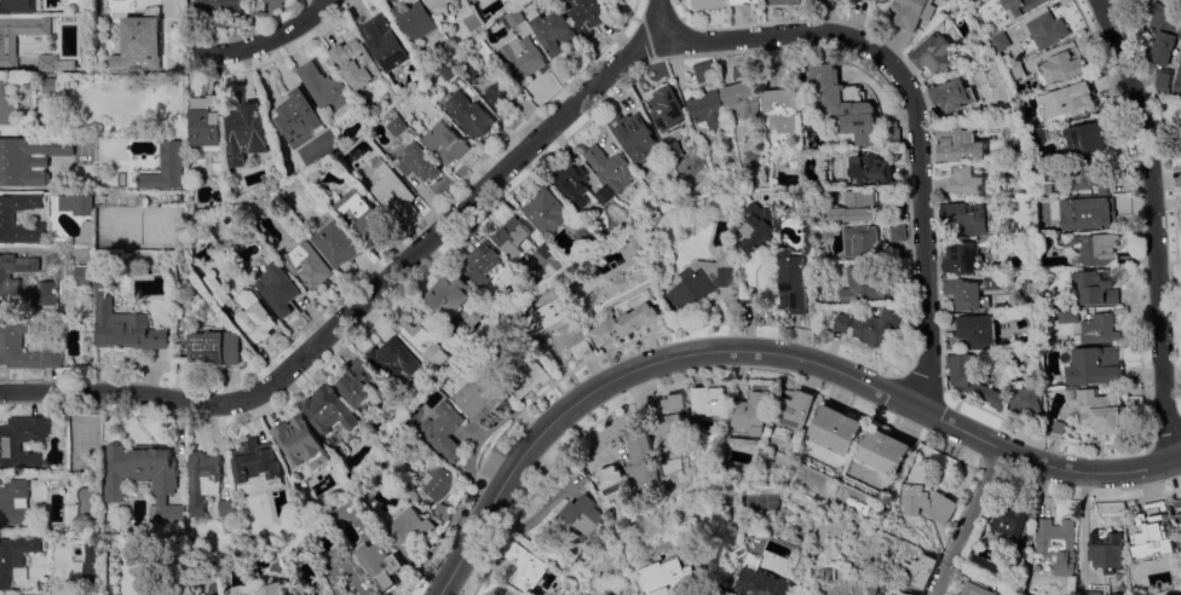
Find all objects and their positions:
building: (840, 0)
building: (883, 0)
building: (612, 1)
building: (745, 1)
building: (785, 1)
building: (148, 2)
building: (273, 4)
building: (708, 4)
building: (19, 5)
building: (1022, 5)
building: (215, 6)
building: (440, 6)
building: (914, 12)
building: (587, 16)
building: (414, 17)
building: (517, 18)
road: (659, 21)
building: (476, 22)
building: (553, 30)
building: (1047, 30)
building: (1162, 30)
road: (269, 39)
building: (999, 41)
building: (386, 42)
building: (86, 44)
building: (137, 44)
building: (7, 51)
building: (933, 53)
building: (523, 57)
building: (54, 64)
building: (356, 64)
building: (1059, 69)
building: (450, 70)
building: (704, 71)
building: (1015, 71)
building: (472, 73)
building: (1163, 80)
building: (1177, 81)
building: (51, 86)
building: (324, 87)
building: (501, 89)
building: (951, 96)
building: (745, 98)
building: (1067, 102)
building: (847, 104)
building: (7, 106)
building: (666, 109)
building: (708, 109)
building: (785, 109)
road: (917, 114)
building: (469, 115)
building: (298, 116)
building: (208, 126)
building: (398, 126)
building: (247, 132)
building: (892, 134)
building: (634, 137)
building: (1084, 138)
building: (447, 143)
building: (957, 145)
building: (673, 151)
building: (28, 158)
building: (419, 162)
building: (166, 167)
building: (609, 167)
building: (868, 168)
building: (1083, 174)
building: (963, 180)
building: (577, 187)
building: (392, 191)
building: (140, 200)
building: (75, 204)
building: (854, 208)
building: (897, 210)
building: (543, 212)
building: (362, 214)
building: (1087, 214)
building: (6, 216)
building: (964, 218)
building: (760, 226)
road: (1152, 226)
building: (898, 233)
building: (512, 238)
building: (584, 238)
building: (864, 243)
building: (336, 244)
building: (635, 244)
building: (1091, 249)
building: (545, 250)
building: (960, 259)
building: (482, 262)
building: (309, 265)
building: (82, 275)
building: (702, 283)
building: (796, 283)
building: (10, 284)
building: (863, 285)
building: (1096, 288)
building: (276, 289)
building: (751, 294)
building: (963, 294)
building: (46, 296)
building: (449, 299)
building: (244, 308)
road: (367, 313)
building: (546, 316)
building: (1067, 316)
building: (842, 323)
building: (125, 324)
building: (628, 324)
building: (877, 325)
building: (1099, 329)
building: (978, 330)
building: (11, 340)
building: (421, 341)
building: (455, 345)
building: (215, 347)
building: (581, 350)
road: (765, 354)
building: (393, 358)
building: (1094, 365)
building: (970, 379)
building: (530, 380)
building: (357, 382)
building: (478, 398)
building: (1025, 402)
building: (707, 403)
building: (329, 410)
building: (794, 410)
building: (1100, 410)
building: (753, 412)
building: (673, 427)
building: (837, 428)
building: (1058, 429)
building: (440, 431)
building: (300, 443)
building: (10, 447)
building: (885, 451)
building: (645, 460)
building: (255, 467)
building: (145, 476)
building: (203, 480)
building: (437, 481)
building: (616, 492)
park: (766, 501)
building: (16, 503)
building: (927, 503)
building: (226, 508)
building: (442, 512)
building: (1177, 514)
building: (583, 516)
building: (1007, 520)
road: (967, 521)
building: (350, 524)
building: (409, 532)
building: (1152, 533)
building: (1055, 544)
building: (1105, 550)
building: (15, 559)
building: (90, 561)
building: (380, 564)
building: (577, 566)
building: (525, 567)
building: (75, 570)
building: (918, 571)
building: (346, 572)
building: (680, 577)
building: (771, 583)
building: (42, 585)
building: (273, 589)
building: (974, 590)
building: (899, 591)
building: (7, 594)
building: (17, 594)
building: (65, 594)
building: (310, 594)
building: (1030, 594)
building: (1083, 594)

